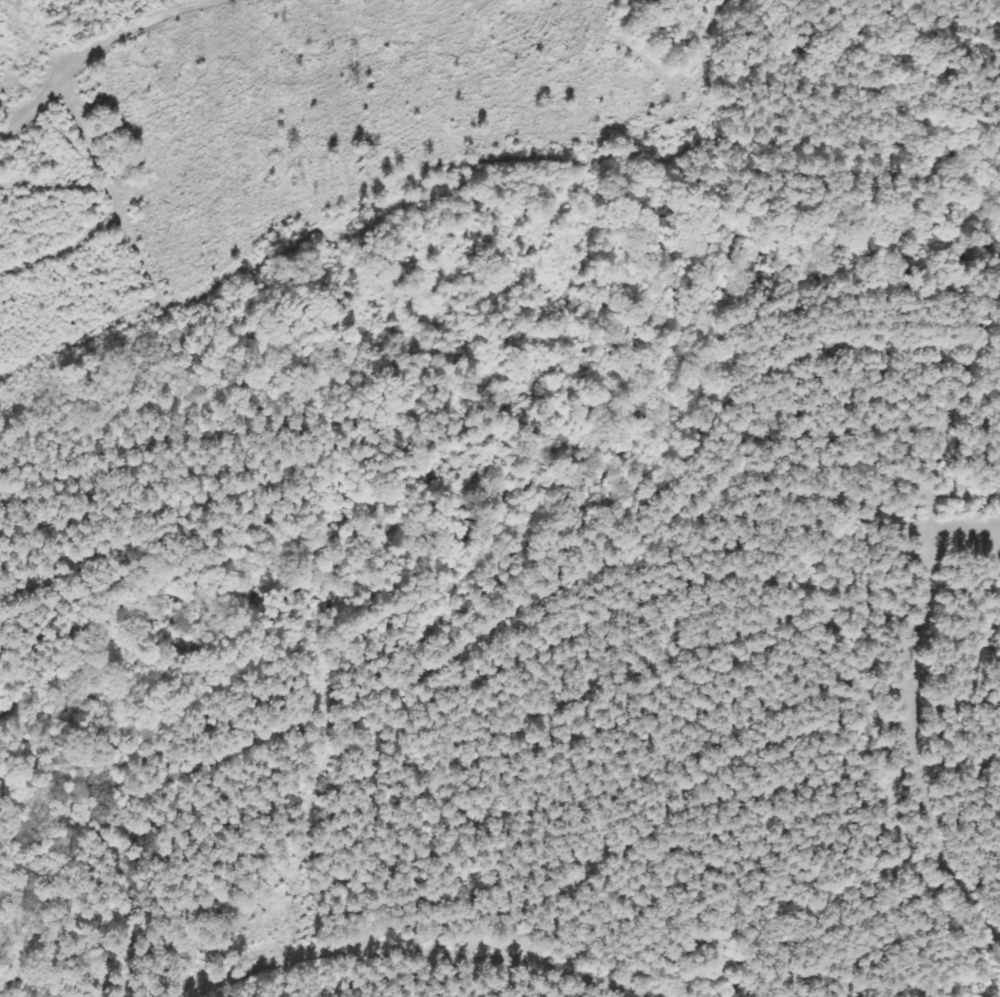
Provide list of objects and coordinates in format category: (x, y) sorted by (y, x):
road: (649, 716)

